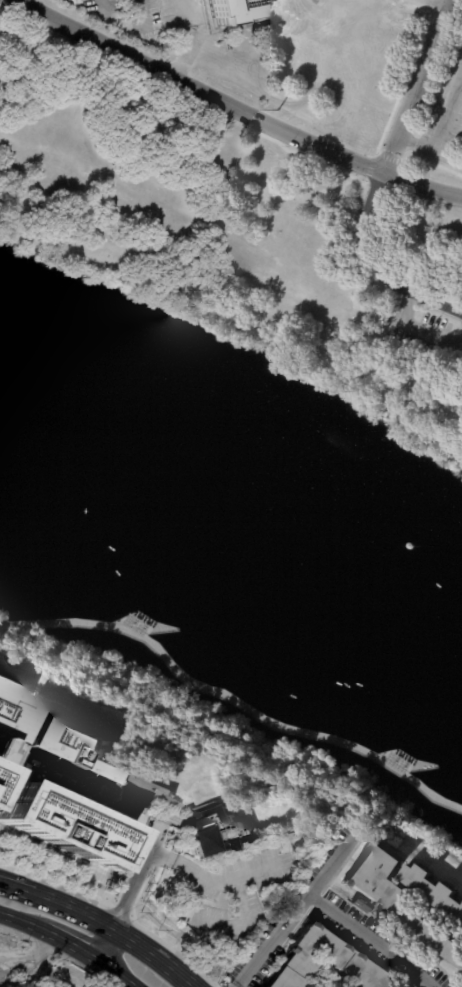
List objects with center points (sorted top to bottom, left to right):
road: (22, 2)
road: (29, 2)
road: (101, 4)
road: (434, 4)
road: (183, 8)
building: (241, 9)
road: (144, 20)
road: (415, 85)
road: (183, 95)
road: (242, 107)
power tower: (277, 110)
road: (440, 131)
road: (375, 152)
road: (429, 162)
park: (233, 231)
road: (376, 267)
road: (116, 271)
road: (243, 327)
road: (416, 332)
parking lot: (428, 334)
road: (388, 339)
road: (363, 385)
river: (230, 517)
road: (232, 702)
building: (9, 713)
building: (67, 744)
building: (139, 790)
building: (58, 826)
building: (210, 829)
road: (129, 854)
road: (209, 875)
road: (61, 876)
road: (133, 877)
road: (2, 883)
road: (2, 883)
building: (433, 891)
road: (35, 896)
building: (396, 896)
building: (359, 903)
road: (298, 909)
road: (3, 912)
road: (3, 913)
road: (113, 913)
road: (237, 917)
road: (88, 919)
road: (24, 921)
road: (178, 935)
railway: (83, 938)
road: (373, 941)
road: (70, 942)
road: (105, 945)
road: (29, 953)
road: (149, 956)
building: (320, 962)
road: (47, 970)
road: (118, 972)
road: (238, 986)

